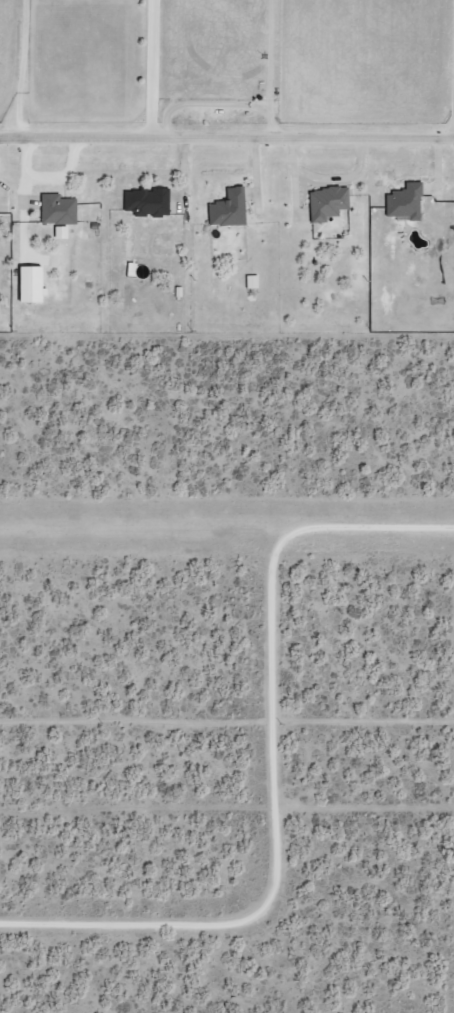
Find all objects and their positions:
road: (19, 68)
road: (227, 136)
building: (144, 201)
building: (325, 201)
building: (402, 201)
building: (56, 208)
building: (226, 208)
building: (251, 280)
building: (28, 284)
road: (271, 768)

